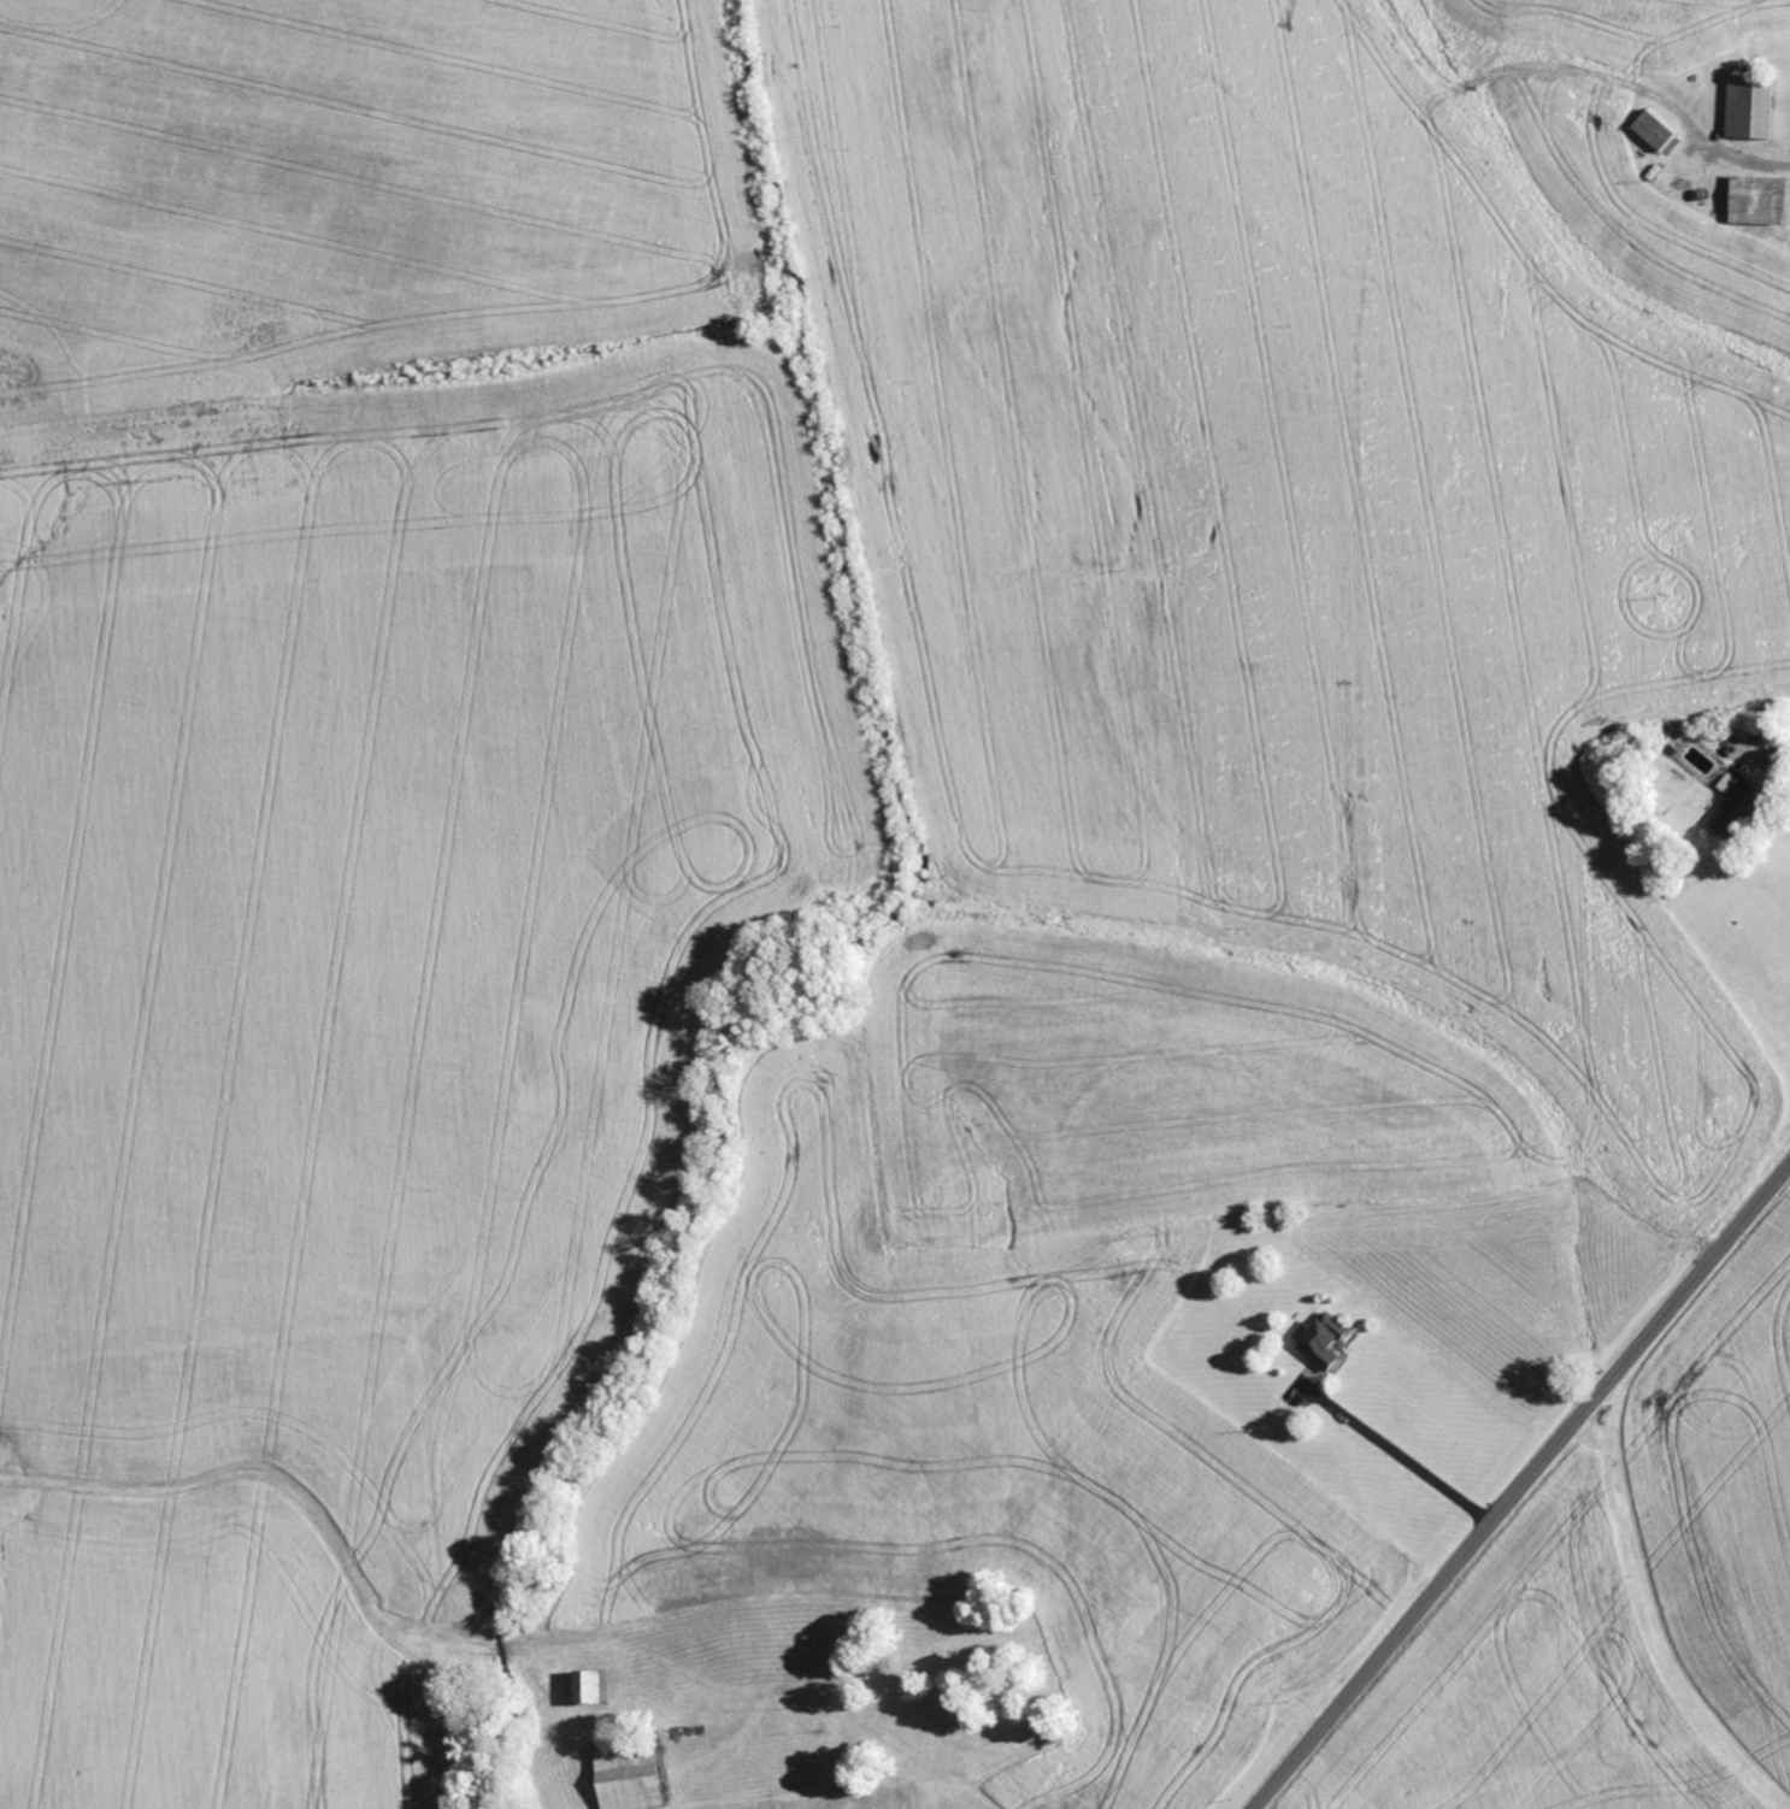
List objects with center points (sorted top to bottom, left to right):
building: (1753, 110)
building: (1657, 136)
building: (1780, 752)
building: (1738, 805)
building: (1326, 1343)
road: (1521, 1486)
building: (591, 1689)
building: (631, 1775)

